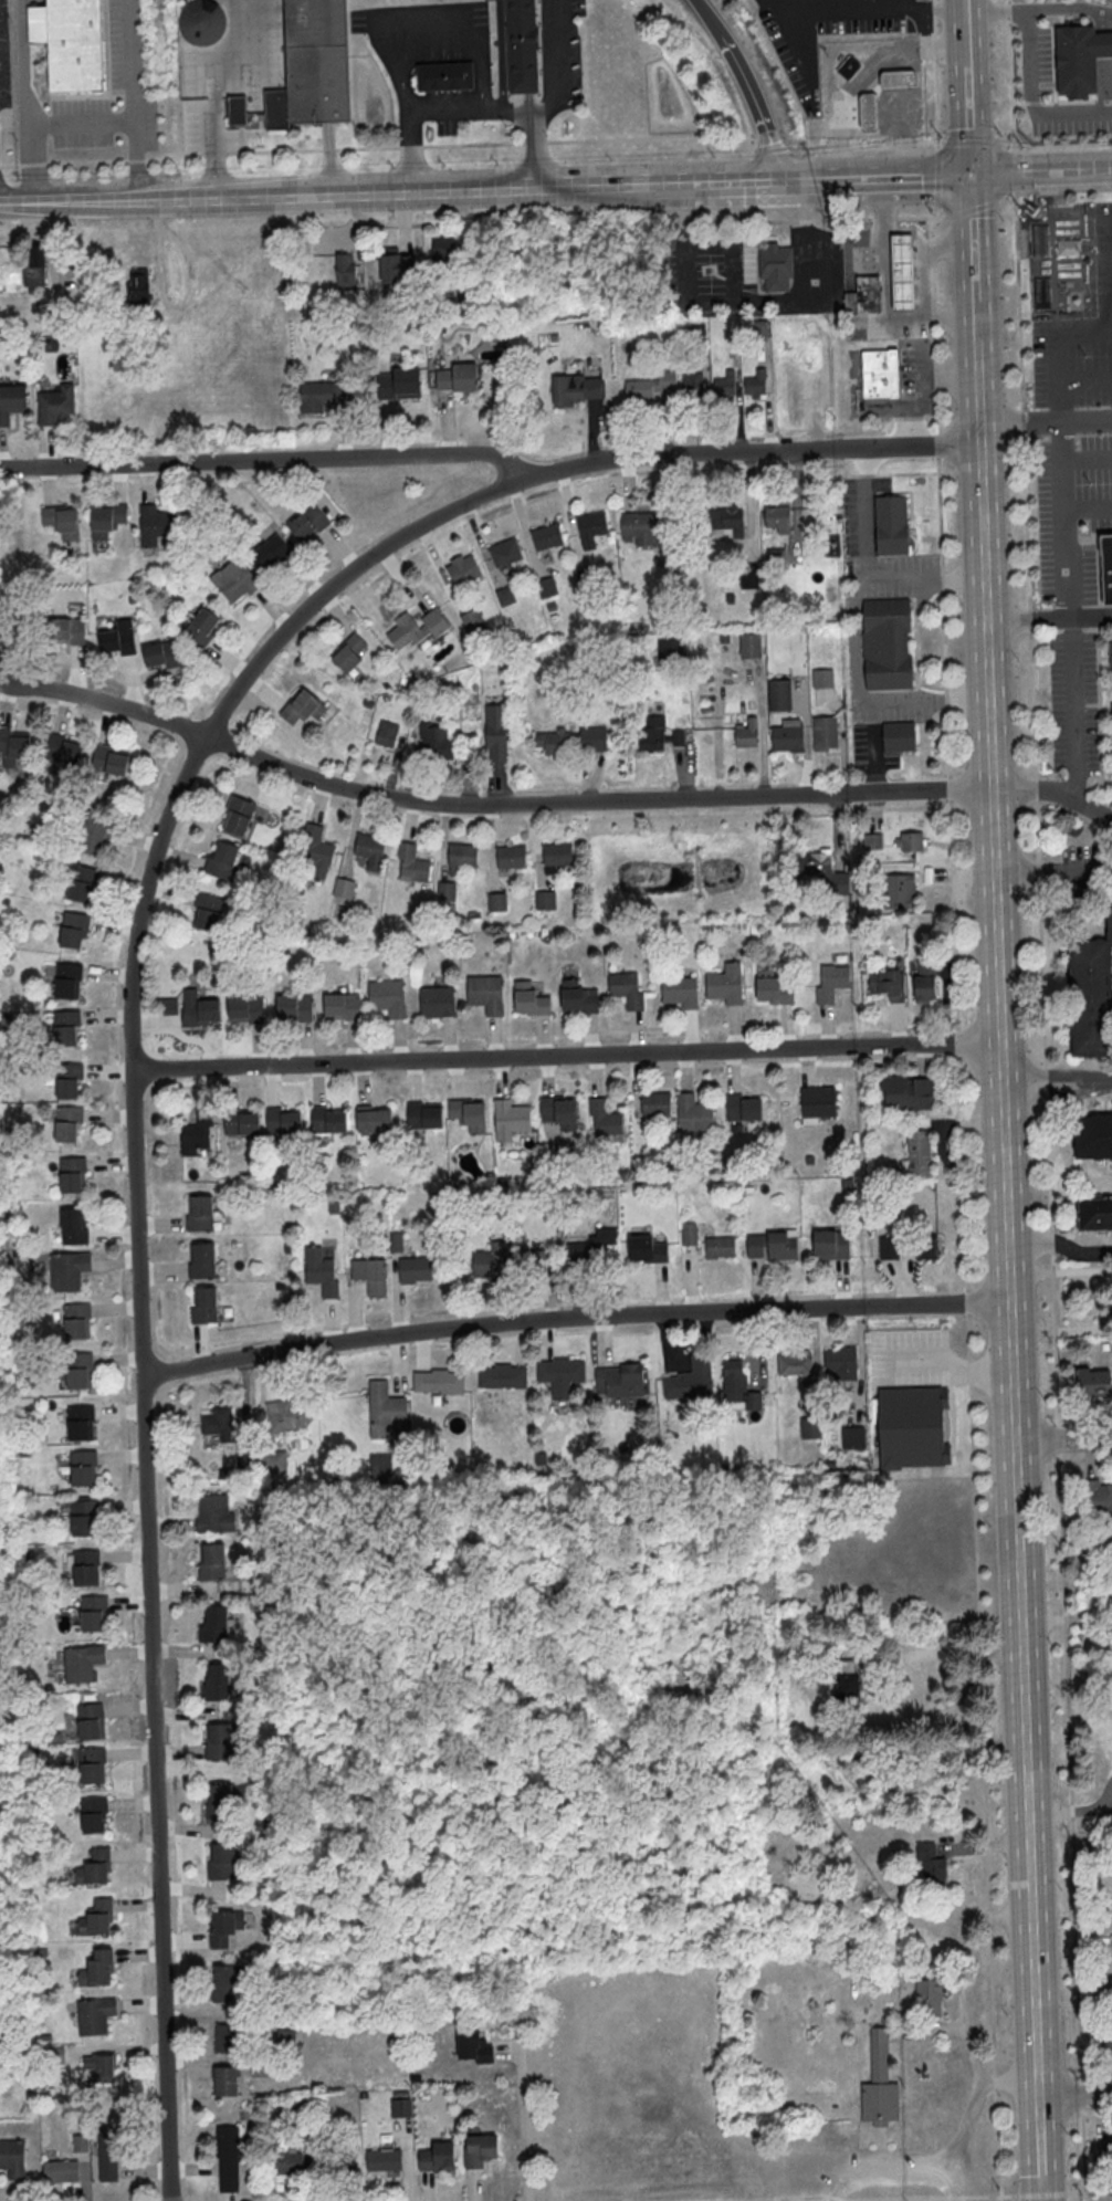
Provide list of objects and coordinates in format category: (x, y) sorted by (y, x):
building: (179, 2)
road: (787, 6)
road: (837, 7)
road: (1036, 8)
road: (703, 15)
building: (199, 22)
road: (959, 24)
building: (71, 43)
building: (520, 46)
road: (497, 51)
building: (1078, 60)
building: (310, 65)
building: (847, 67)
road: (933, 71)
road: (480, 73)
road: (1010, 75)
road: (398, 77)
building: (444, 77)
road: (863, 77)
building: (895, 81)
road: (130, 101)
road: (558, 101)
road: (1027, 101)
road: (22, 102)
road: (490, 102)
road: (755, 102)
road: (444, 105)
road: (515, 107)
building: (234, 111)
road: (965, 111)
building: (867, 113)
road: (77, 120)
road: (889, 133)
road: (1004, 142)
road: (860, 145)
road: (378, 146)
road: (936, 146)
road: (768, 150)
road: (1013, 168)
road: (1040, 169)
traffic signals: (969, 172)
road: (875, 175)
road: (935, 177)
road: (744, 178)
road: (419, 189)
road: (1062, 191)
road: (1004, 201)
road: (82, 203)
road: (14, 205)
road: (933, 210)
road: (969, 210)
road: (802, 220)
road: (972, 239)
building: (442, 251)
road: (920, 263)
building: (35, 264)
road: (884, 264)
building: (396, 266)
building: (777, 266)
building: (345, 271)
building: (901, 274)
road: (1084, 281)
building: (138, 285)
road: (805, 294)
building: (862, 296)
road: (974, 323)
road: (947, 324)
road: (1085, 332)
road: (947, 371)
building: (879, 375)
building: (457, 379)
building: (692, 381)
road: (1087, 382)
building: (398, 384)
building: (724, 384)
building: (756, 384)
building: (650, 385)
building: (577, 388)
road: (919, 394)
parking lot: (1072, 394)
building: (321, 396)
road: (1062, 397)
building: (12, 401)
building: (55, 403)
road: (1046, 422)
road: (493, 457)
road: (1089, 460)
road: (1089, 510)
building: (777, 516)
building: (108, 517)
building: (727, 518)
building: (61, 520)
building: (308, 523)
building: (156, 524)
building: (589, 525)
building: (893, 525)
building: (644, 527)
building: (545, 537)
building: (271, 552)
building: (503, 553)
building: (1104, 568)
building: (461, 570)
road: (862, 574)
building: (749, 575)
building: (586, 576)
building: (234, 579)
road: (922, 579)
building: (546, 586)
building: (505, 594)
building: (473, 621)
road: (1048, 621)
building: (201, 627)
building: (416, 628)
building: (69, 630)
building: (118, 638)
building: (889, 642)
building: (749, 643)
building: (671, 649)
building: (161, 653)
building: (349, 653)
building: (1109, 658)
building: (822, 677)
road: (2, 683)
building: (779, 694)
road: (923, 698)
building: (303, 706)
building: (1110, 716)
road: (1077, 717)
building: (495, 732)
building: (747, 732)
building: (825, 732)
building: (386, 733)
building: (787, 734)
building: (660, 735)
building: (591, 737)
building: (900, 737)
building: (432, 738)
building: (554, 741)
building: (12, 745)
building: (64, 748)
building: (111, 758)
road: (871, 761)
road: (1053, 792)
road: (489, 803)
building: (235, 816)
building: (96, 836)
building: (872, 840)
building: (910, 840)
building: (370, 849)
building: (315, 852)
building: (460, 856)
building: (555, 856)
building: (508, 857)
building: (221, 860)
building: (412, 862)
building: (818, 866)
road: (1105, 868)
road: (1047, 871)
building: (82, 881)
building: (344, 887)
building: (445, 890)
building: (900, 890)
building: (545, 899)
building: (496, 900)
building: (208, 911)
building: (73, 927)
building: (67, 979)
building: (829, 979)
building: (925, 981)
building: (884, 982)
building: (725, 983)
building: (770, 988)
building: (625, 989)
building: (679, 992)
building: (485, 993)
building: (1090, 994)
building: (387, 996)
building: (578, 996)
building: (527, 999)
building: (436, 1003)
building: (339, 1006)
building: (293, 1007)
building: (199, 1008)
building: (244, 1009)
building: (65, 1027)
road: (567, 1052)
building: (69, 1079)
road: (1058, 1080)
building: (906, 1092)
building: (815, 1100)
building: (655, 1102)
building: (555, 1105)
building: (739, 1107)
building: (463, 1109)
building: (690, 1112)
building: (421, 1114)
building: (370, 1117)
building: (601, 1117)
building: (324, 1118)
building: (506, 1118)
building: (280, 1119)
building: (238, 1120)
building: (66, 1122)
building: (195, 1129)
building: (1093, 1138)
building: (919, 1153)
building: (72, 1172)
road: (1050, 1194)
road: (965, 1205)
building: (197, 1212)
building: (1095, 1214)
building: (70, 1226)
building: (689, 1234)
building: (831, 1244)
building: (595, 1245)
building: (772, 1245)
building: (720, 1246)
building: (908, 1246)
road: (1061, 1247)
building: (647, 1248)
road: (136, 1251)
building: (536, 1258)
building: (199, 1259)
building: (489, 1261)
building: (411, 1268)
building: (69, 1269)
road: (1009, 1270)
building: (318, 1271)
building: (367, 1272)
building: (200, 1303)
road: (574, 1316)
building: (76, 1319)
building: (840, 1362)
building: (795, 1363)
road: (950, 1365)
building: (78, 1369)
building: (557, 1370)
building: (500, 1376)
building: (688, 1377)
building: (617, 1379)
building: (1091, 1380)
building: (436, 1381)
building: (738, 1383)
building: (382, 1408)
building: (289, 1414)
road: (1083, 1416)
building: (81, 1421)
building: (217, 1421)
building: (810, 1426)
building: (912, 1428)
building: (852, 1437)
road: (1061, 1438)
road: (1084, 1457)
building: (275, 1460)
building: (82, 1466)
building: (1094, 1497)
building: (211, 1512)
building: (84, 1516)
building: (208, 1559)
building: (86, 1565)
building: (93, 1612)
road: (1067, 1617)
building: (210, 1623)
road: (941, 1650)
building: (78, 1662)
building: (847, 1678)
building: (212, 1679)
building: (88, 1719)
building: (214, 1740)
building: (91, 1763)
building: (216, 1801)
road: (1070, 1811)
building: (92, 1814)
building: (218, 1859)
building: (92, 1865)
building: (931, 1865)
building: (93, 1916)
building: (218, 1927)
building: (94, 1967)
building: (220, 1981)
building: (933, 1998)
building: (93, 2014)
building: (224, 2037)
building: (1101, 2037)
building: (470, 2045)
park: (777, 2045)
building: (51, 2056)
building: (96, 2066)
building: (260, 2066)
road: (1095, 2075)
building: (225, 2079)
building: (882, 2085)
road: (1074, 2095)
building: (775, 2104)
building: (398, 2107)
road: (521, 2114)
road: (1095, 2115)
building: (76, 2141)
building: (1105, 2145)
building: (475, 2148)
building: (105, 2152)
building: (433, 2156)
building: (11, 2157)
building: (228, 2157)
building: (380, 2159)
building: (333, 2160)
building: (282, 2161)
building: (57, 2170)
road: (951, 2170)
road: (952, 2186)
road: (903, 2197)

